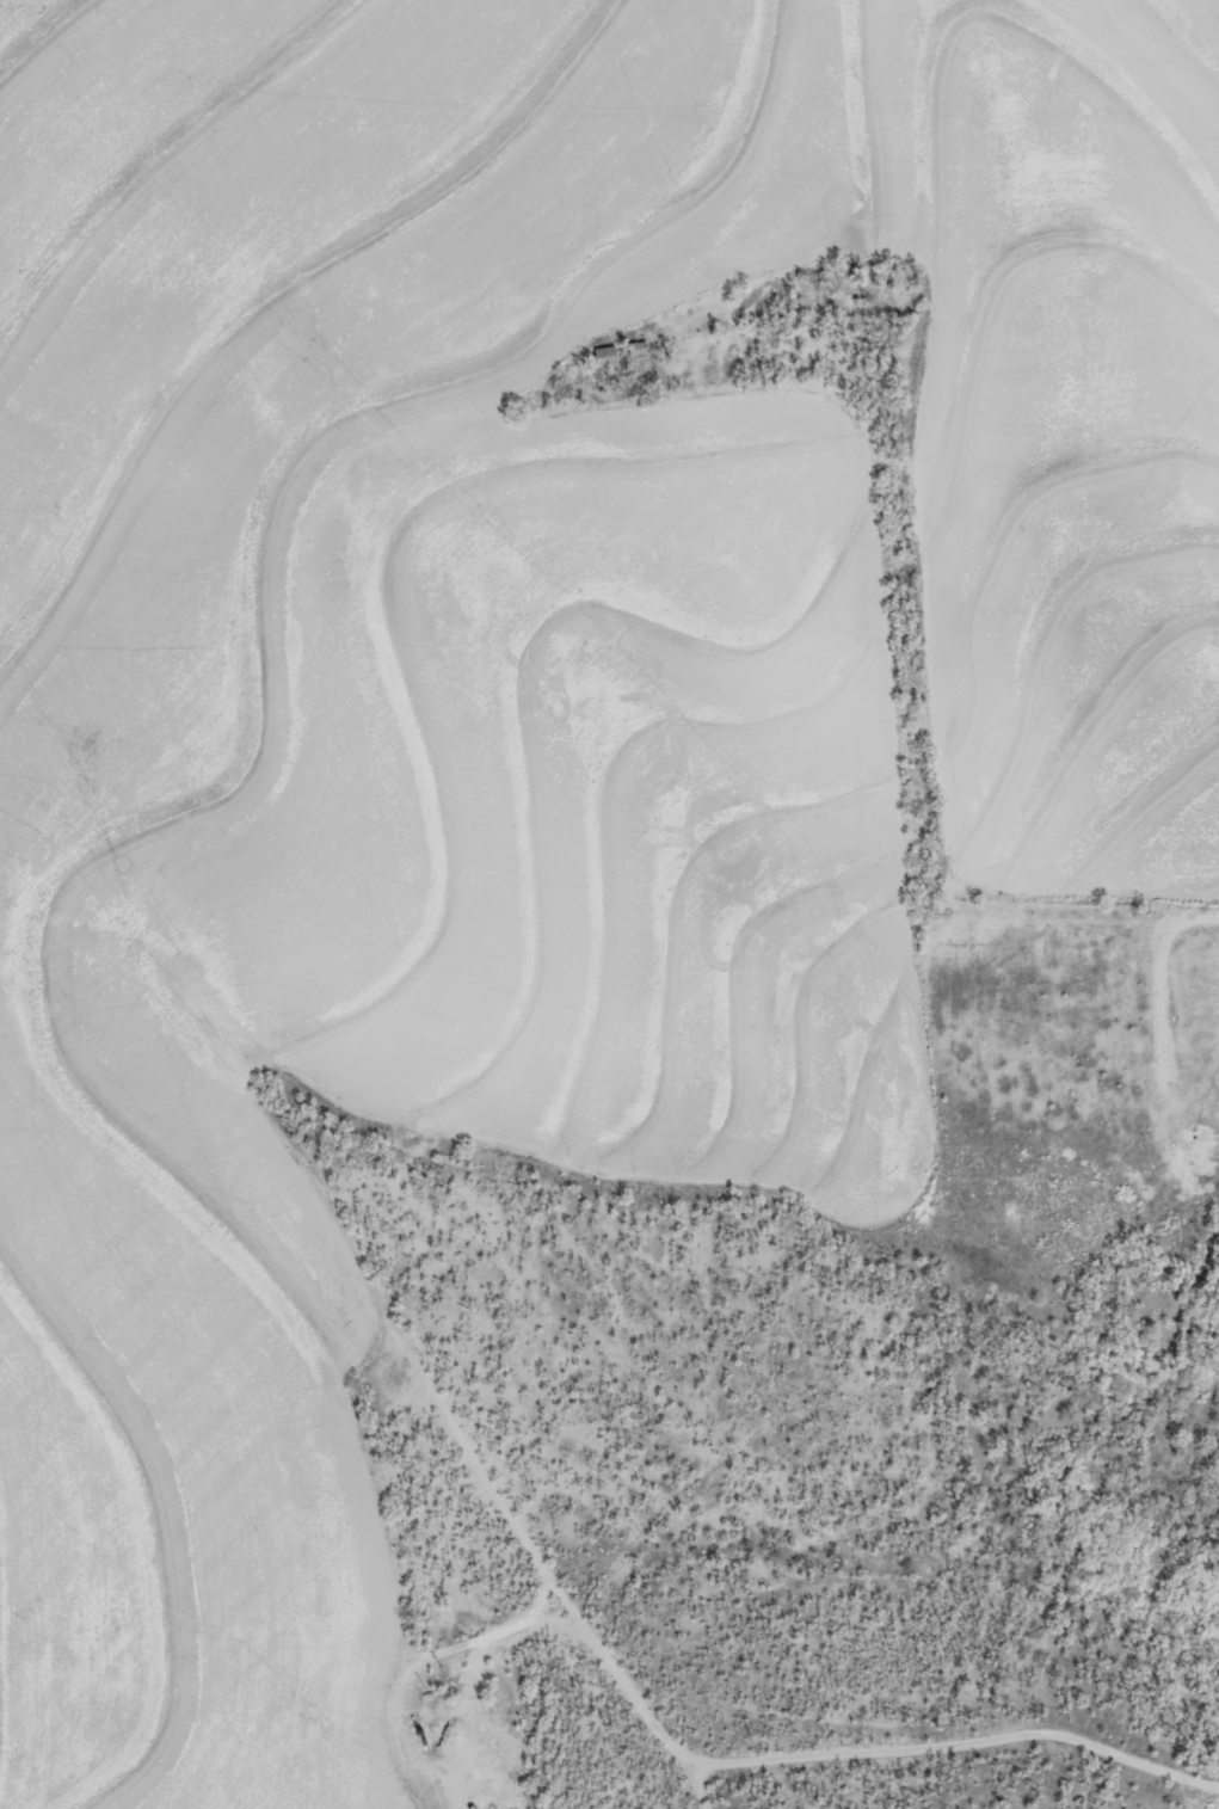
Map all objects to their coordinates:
road: (786, 122)

